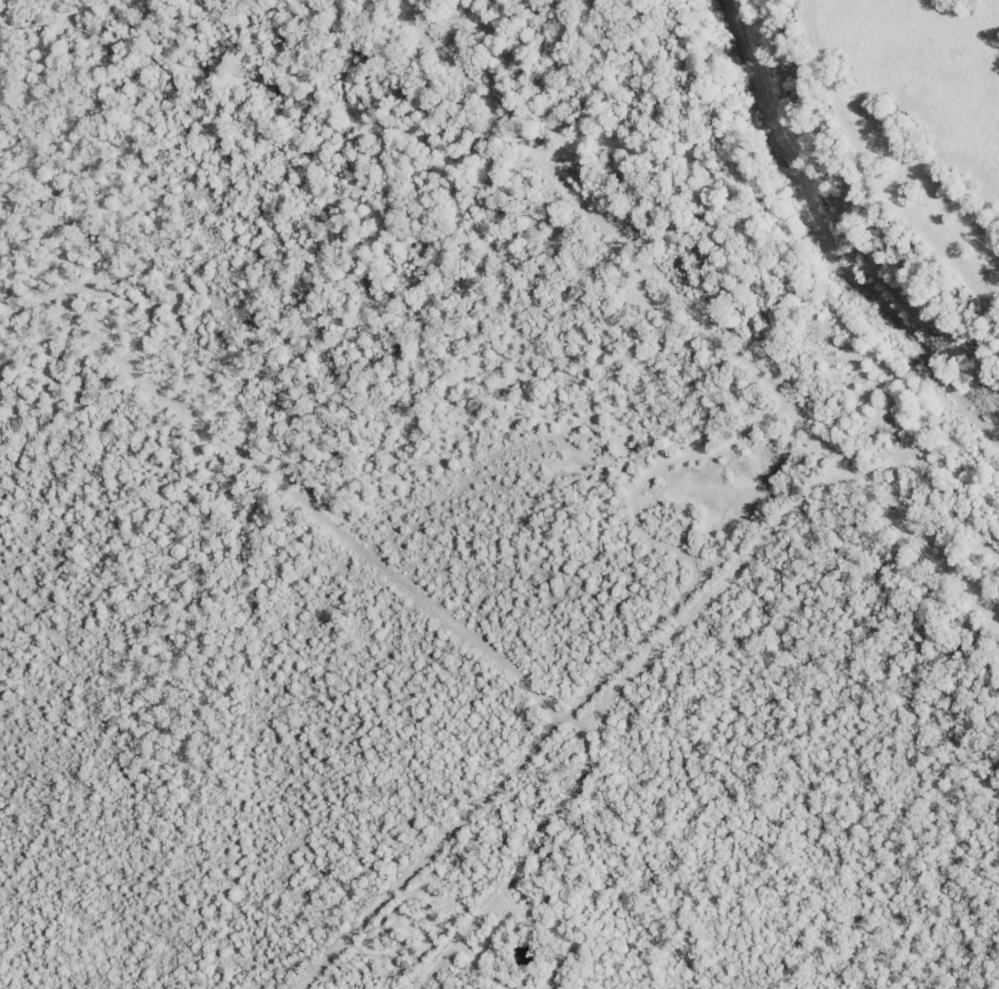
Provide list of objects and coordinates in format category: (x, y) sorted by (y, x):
river: (827, 241)
road: (415, 660)

